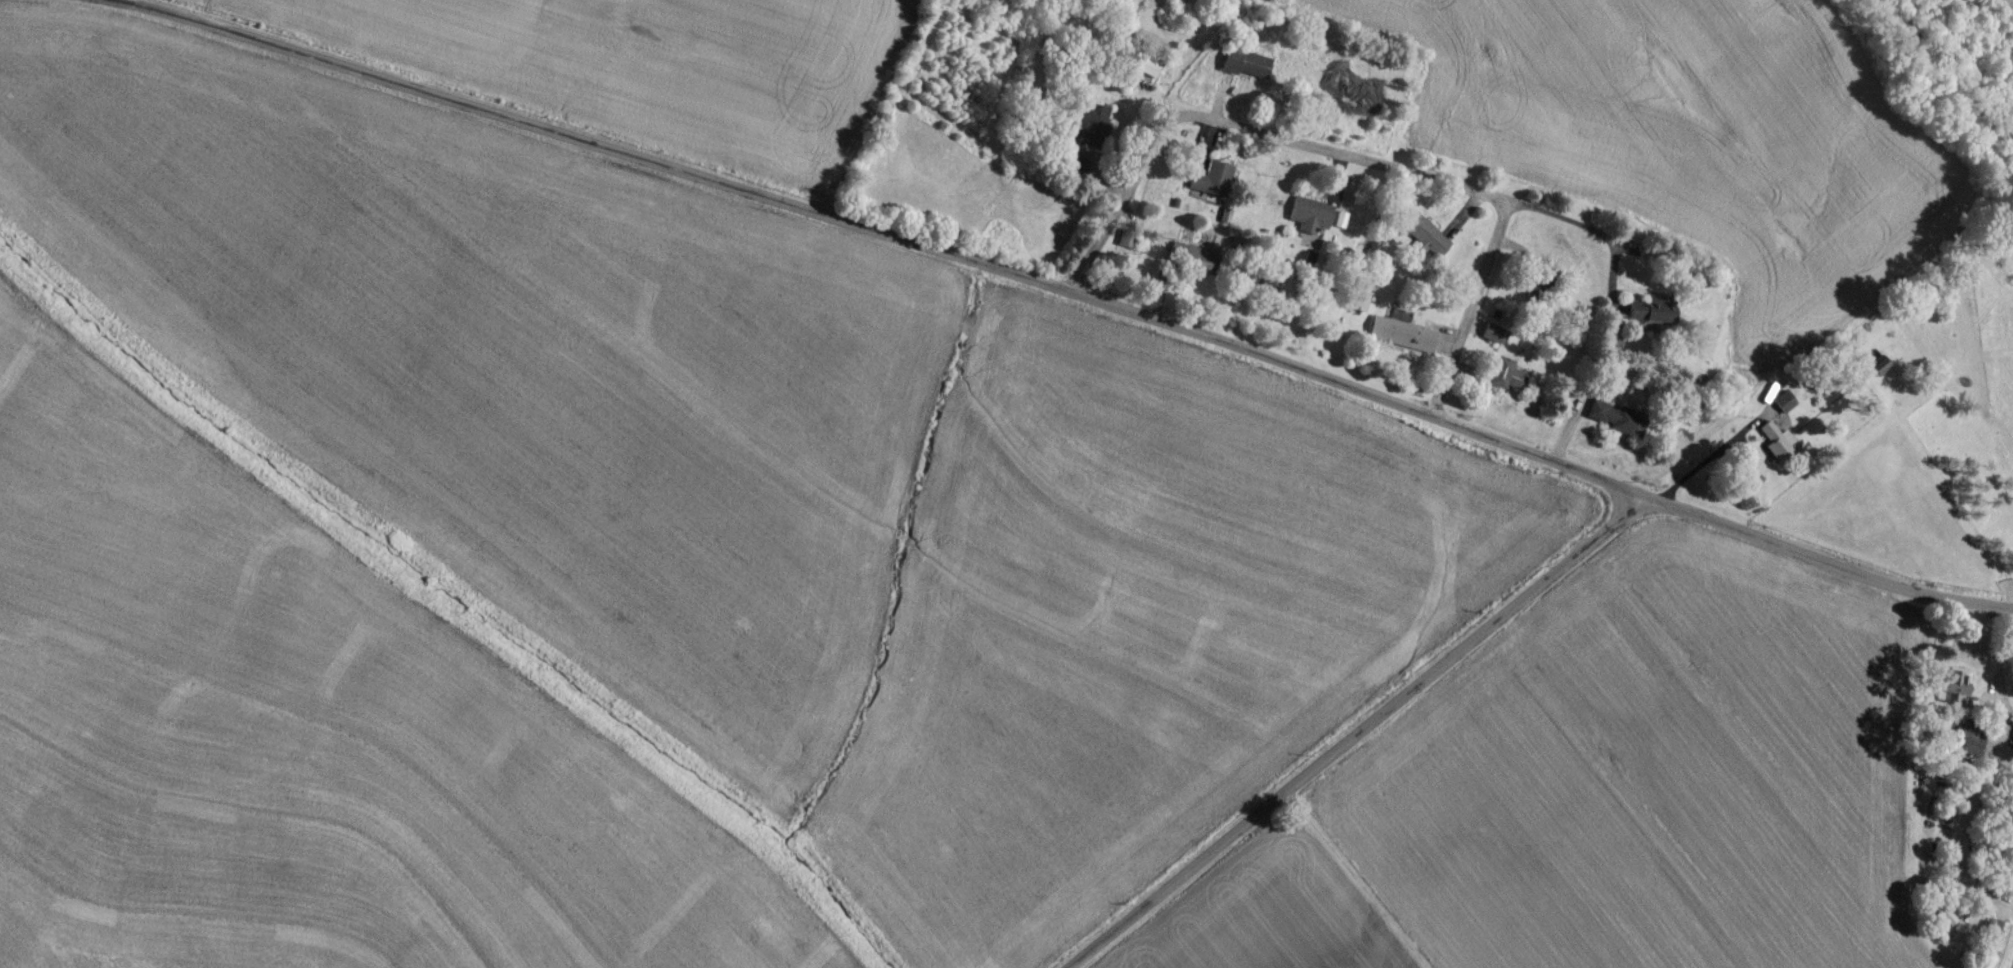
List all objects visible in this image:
building: (1244, 70)
building: (1143, 71)
building: (1086, 127)
road: (581, 147)
road: (1358, 166)
building: (1210, 185)
building: (1308, 220)
building: (1421, 239)
building: (1191, 264)
road: (1607, 307)
building: (1356, 309)
building: (1650, 319)
building: (1399, 341)
building: (1876, 372)
building: (1498, 379)
road: (1354, 397)
building: (1775, 417)
building: (1606, 422)
road: (1703, 465)
road: (1823, 568)
building: (1955, 692)
road: (1357, 736)
road: (1986, 761)
building: (1930, 910)
building: (1994, 948)

